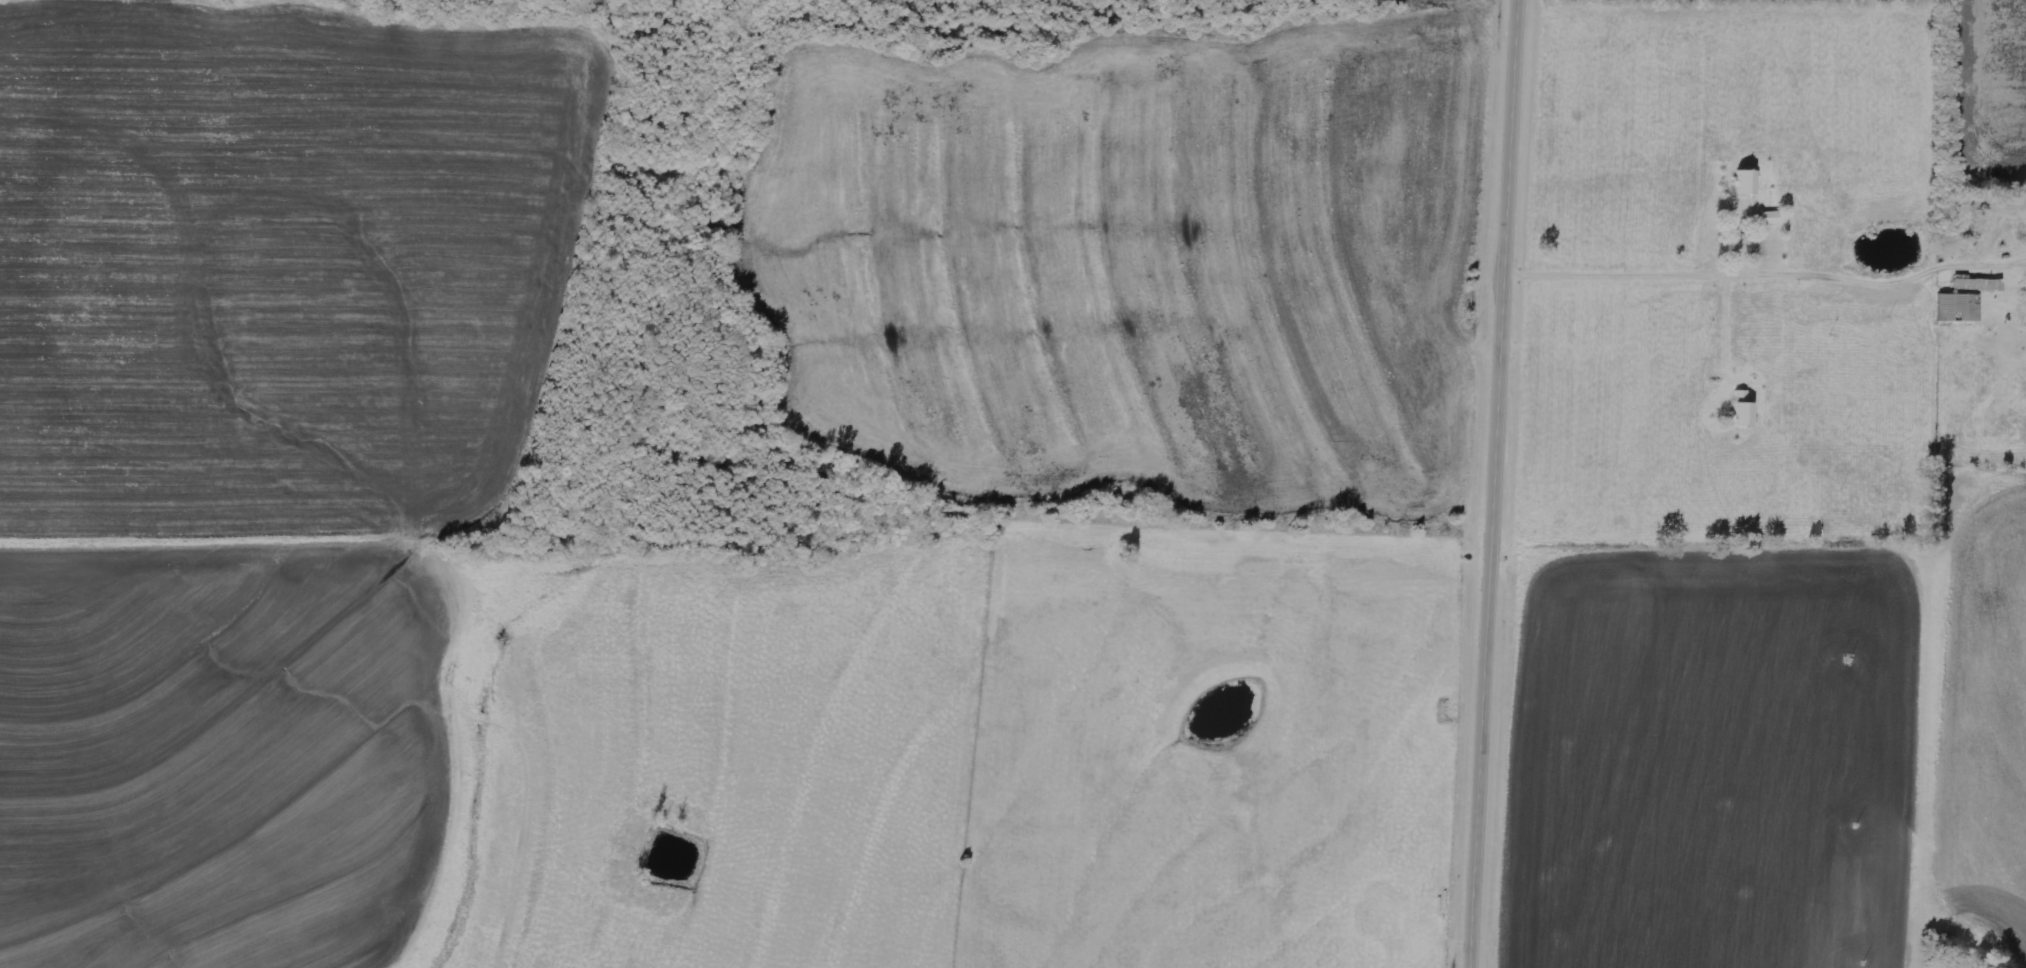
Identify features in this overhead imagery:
building: (1774, 219)
building: (1981, 286)
road: (1495, 484)
road: (1963, 922)

